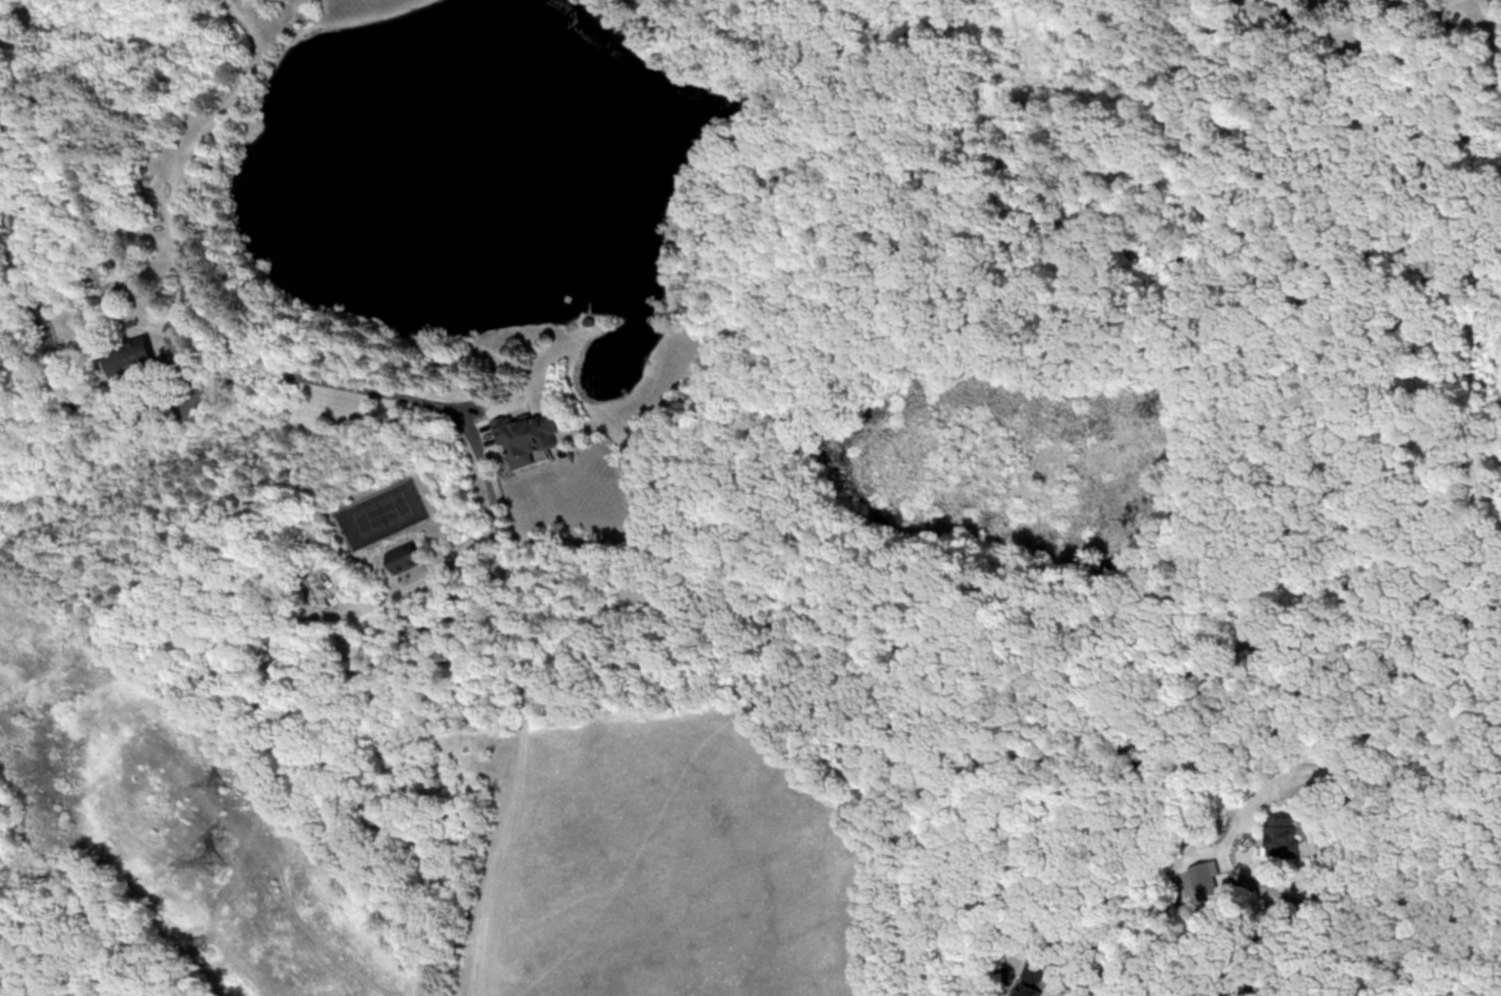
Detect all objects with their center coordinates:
road: (1427, 7)
building: (148, 190)
road: (13, 213)
building: (131, 356)
building: (527, 436)
building: (404, 556)
power tower: (221, 781)
road: (1437, 827)
building: (1279, 833)
power tower: (215, 860)
road: (1274, 978)

